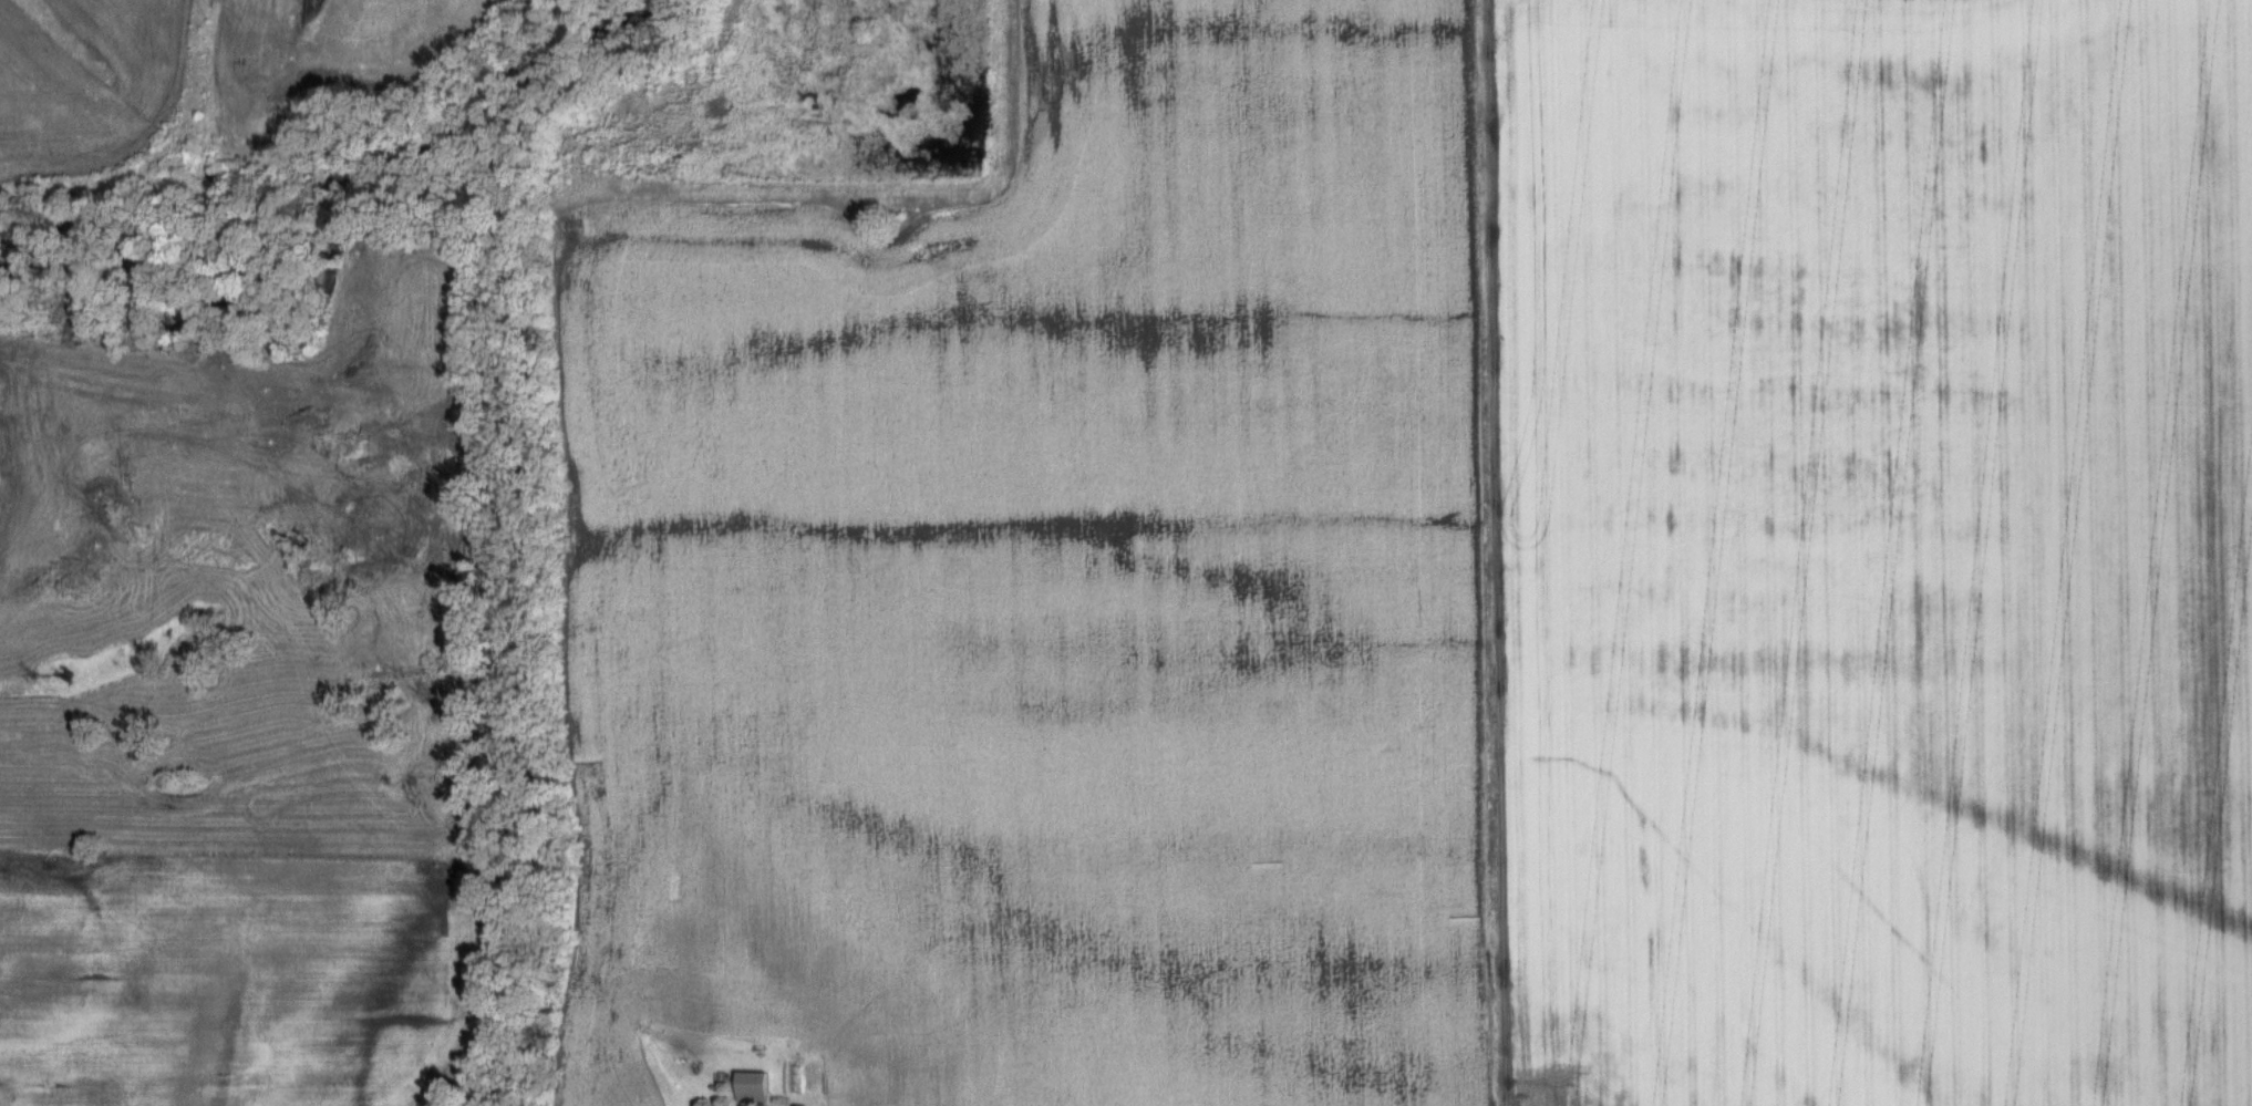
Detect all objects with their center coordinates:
building: (752, 1086)

